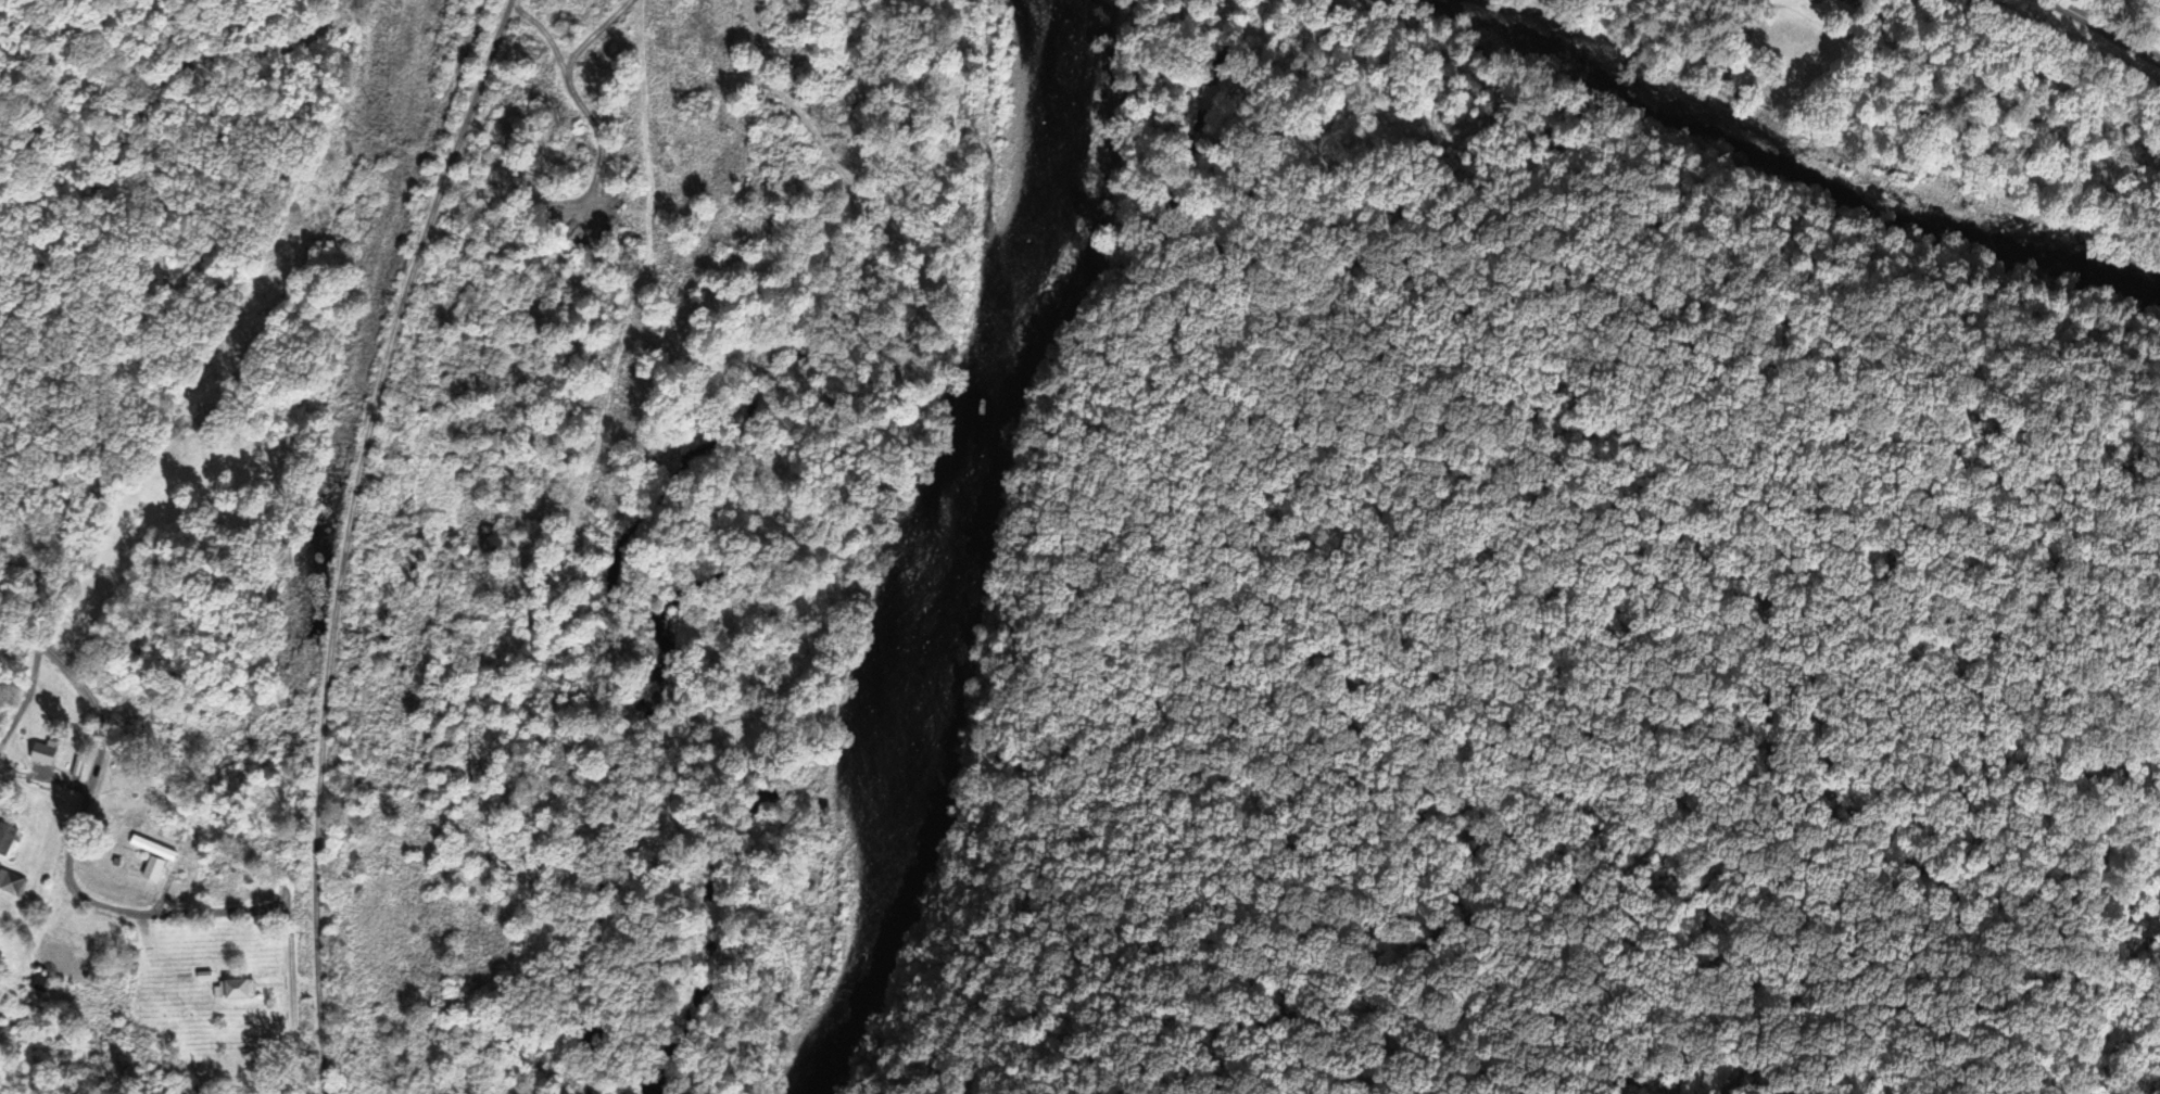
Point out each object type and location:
building: (1861, 0)
river: (1058, 2)
road: (2090, 29)
road: (132, 115)
road: (348, 534)
river: (962, 554)
building: (45, 755)
building: (7, 837)
building: (153, 847)
building: (155, 868)
building: (13, 881)
road: (101, 907)
building: (39, 980)
road: (305, 984)
building: (238, 991)

